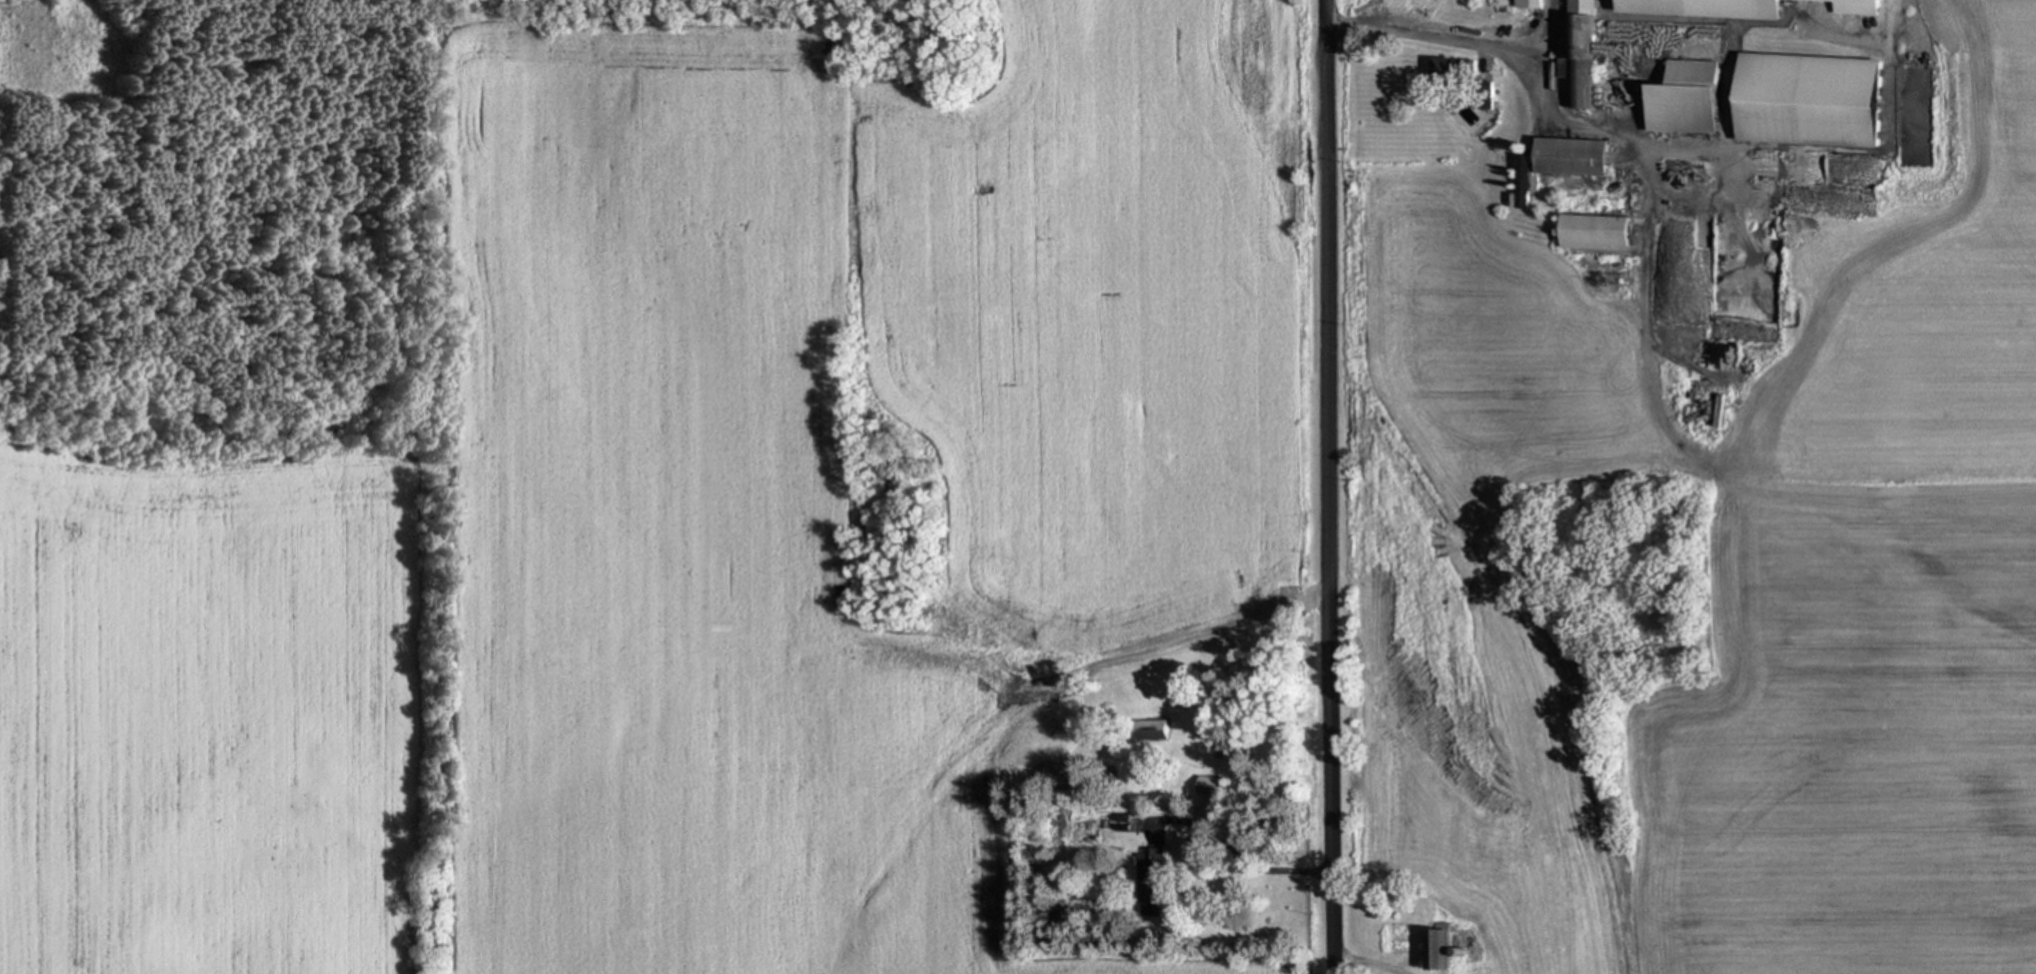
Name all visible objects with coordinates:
building: (1526, 3)
building: (1727, 4)
road: (1430, 37)
building: (1592, 47)
building: (1446, 66)
building: (1809, 78)
building: (1685, 98)
building: (1559, 161)
building: (1677, 174)
building: (1596, 228)
road: (1337, 487)
building: (1152, 730)
building: (1212, 786)
road: (1252, 862)
building: (1151, 881)
building: (1441, 949)

